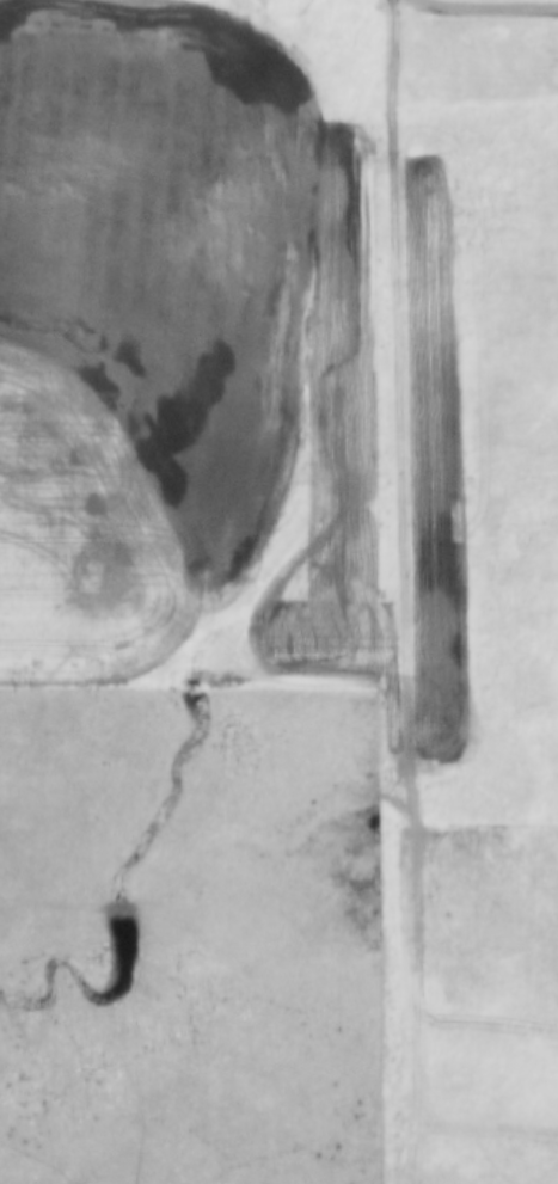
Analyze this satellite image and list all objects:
road: (490, 8)

